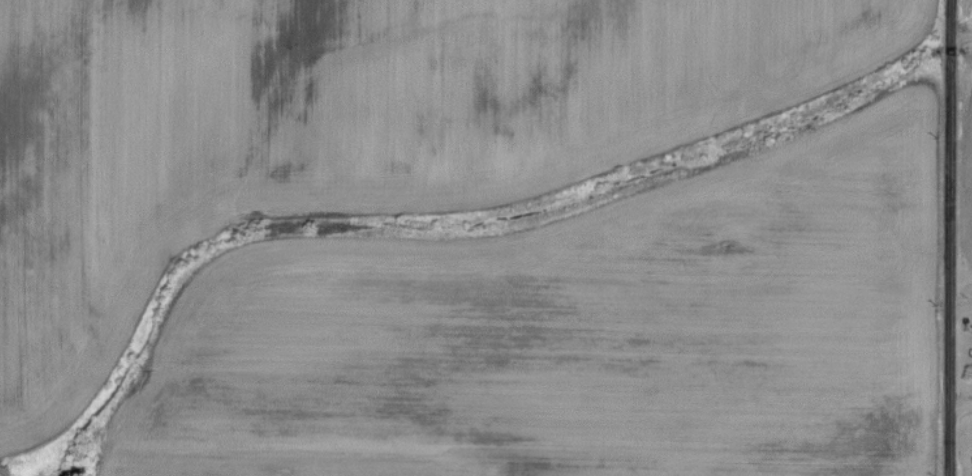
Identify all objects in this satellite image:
road: (963, 37)
road: (953, 237)
road: (962, 307)
road: (962, 407)

